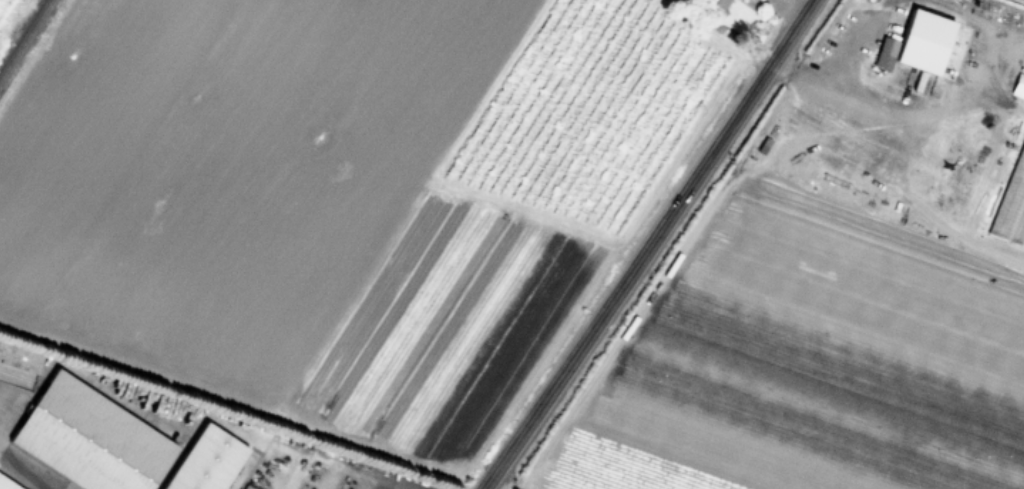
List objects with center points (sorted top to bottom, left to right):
road: (804, 3)
building: (712, 6)
crop: (6, 10)
railway: (24, 37)
building: (885, 54)
road: (891, 109)
crop: (544, 231)
road: (648, 245)
building: (90, 439)
building: (205, 461)
building: (7, 484)

